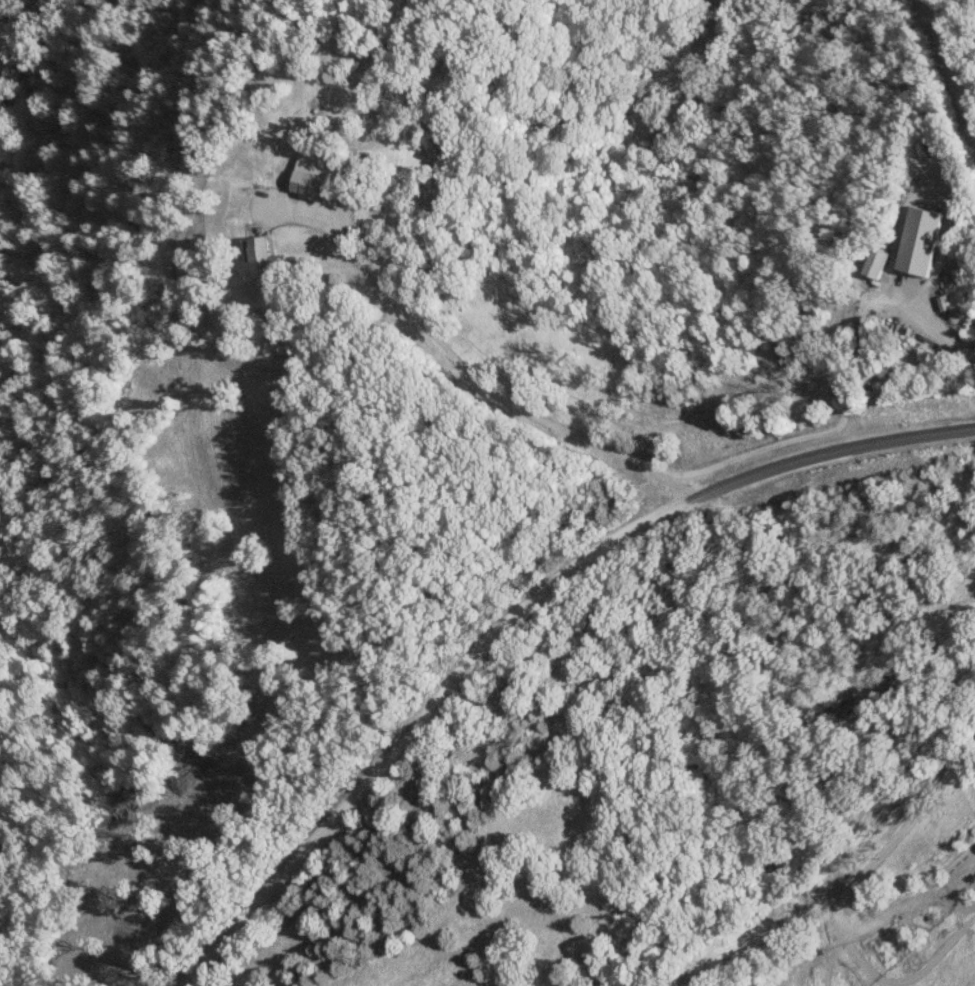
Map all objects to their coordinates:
road: (908, 141)
building: (312, 181)
building: (918, 240)
building: (260, 258)
building: (875, 262)
building: (942, 303)
road: (493, 388)
road: (816, 436)
road: (826, 452)
road: (414, 724)

